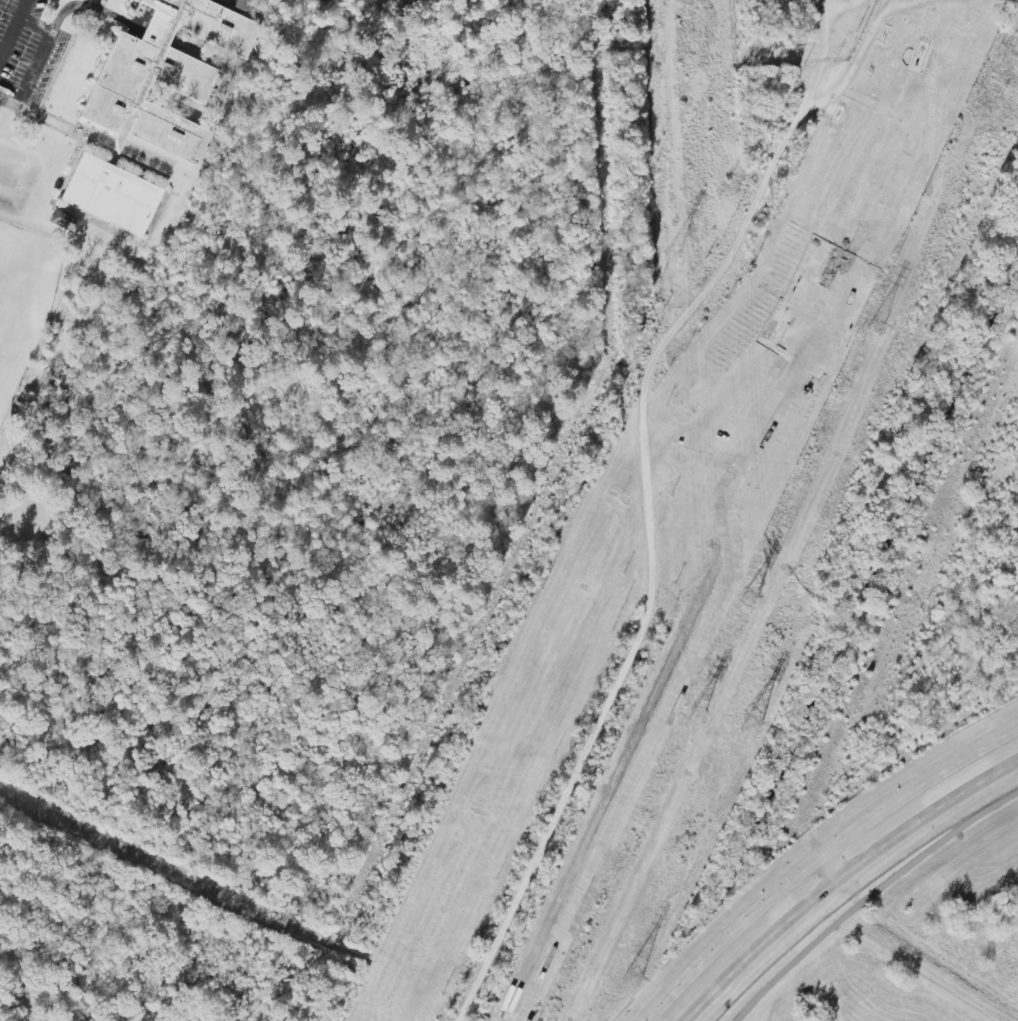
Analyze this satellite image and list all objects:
building: (243, 4)
road: (92, 7)
power substation: (796, 30)
road: (10, 40)
parking lot: (28, 50)
road: (44, 50)
power tower: (1011, 50)
road: (65, 52)
building: (164, 75)
road: (35, 117)
road: (60, 118)
road: (82, 140)
road: (68, 174)
power tower: (726, 191)
building: (111, 196)
power tower: (676, 238)
park: (18, 292)
power tower: (876, 326)
road: (645, 565)
power tower: (749, 598)
power tower: (701, 699)
power tower: (752, 722)
road: (799, 838)
road: (818, 857)
road: (830, 865)
road: (841, 875)
road: (868, 896)
road: (909, 973)
power tower: (631, 978)

